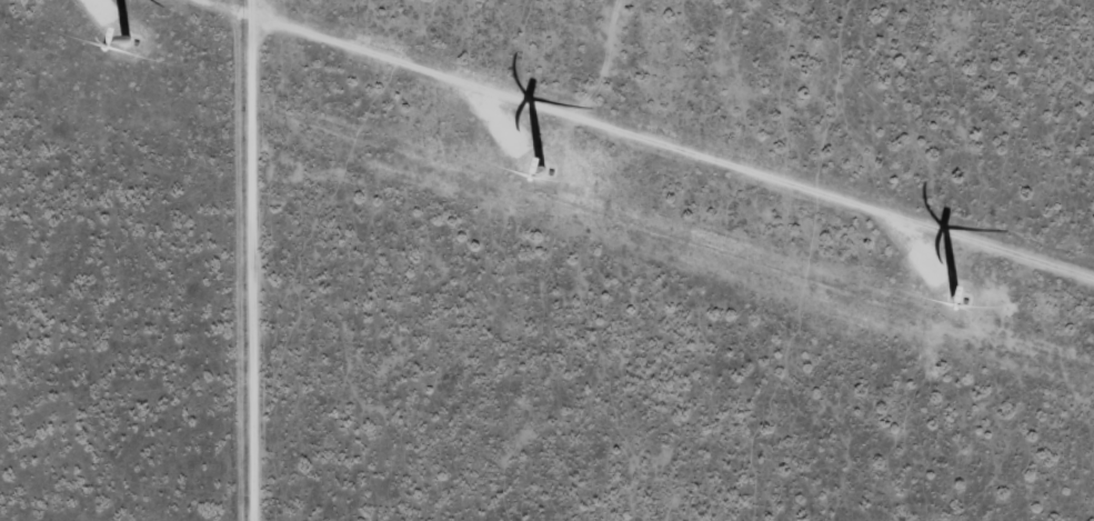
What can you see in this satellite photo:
wind turbine: (114, 32)
road: (899, 159)
wind turbine: (515, 188)
road: (277, 260)
wind turbine: (952, 322)

